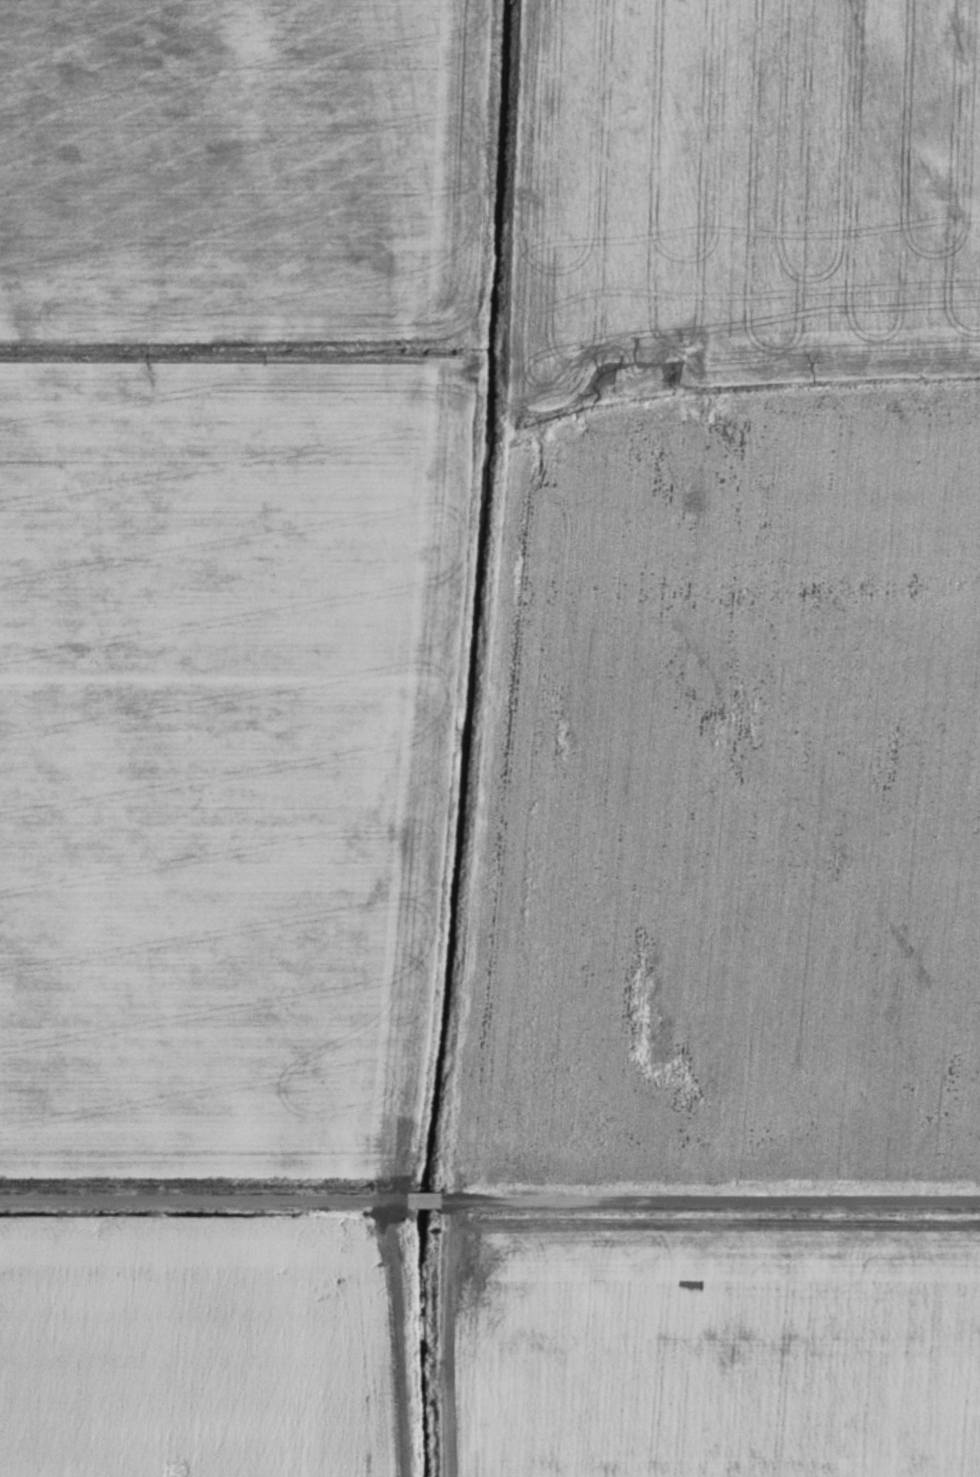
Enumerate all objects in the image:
road: (220, 1196)
road: (710, 1198)

